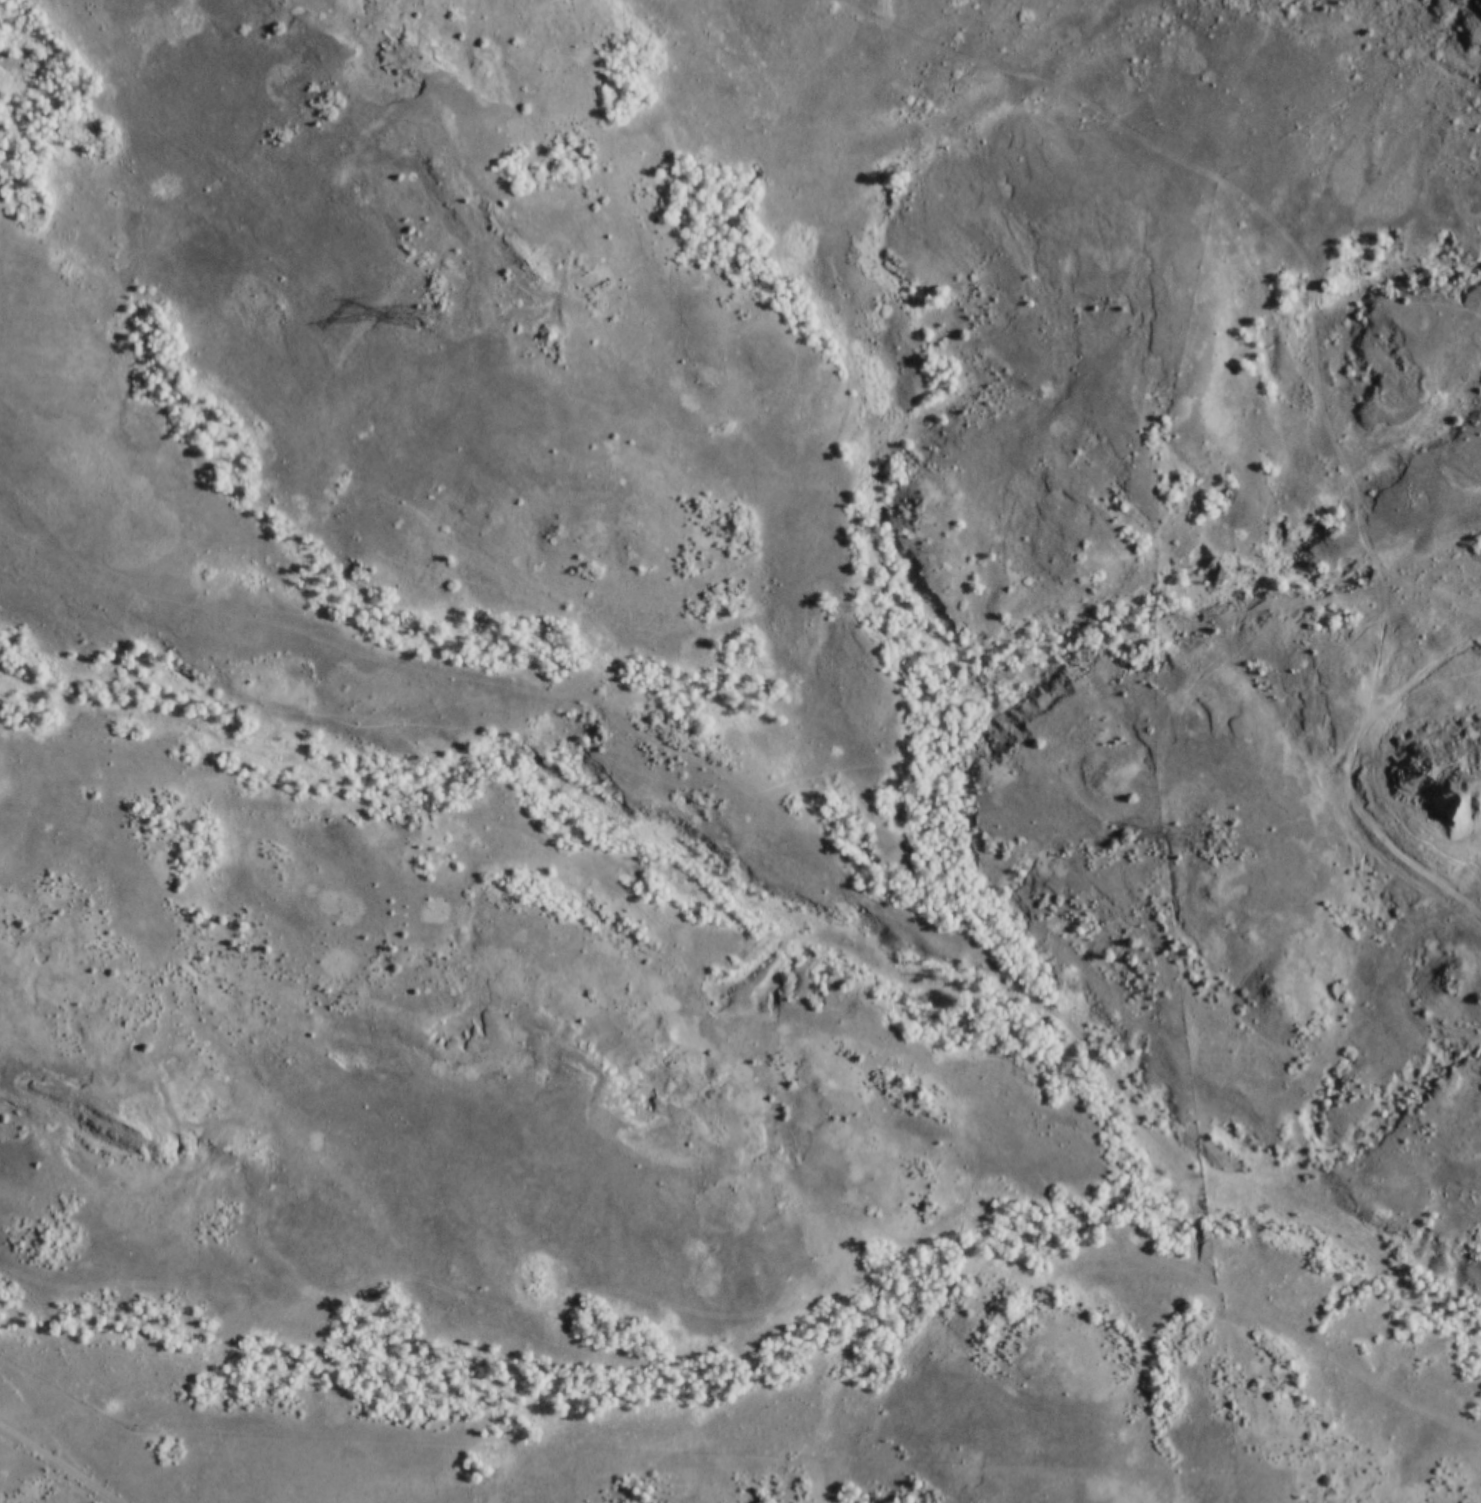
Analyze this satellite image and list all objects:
power tower: (425, 320)
power tower: (1215, 837)
road: (61, 1462)

